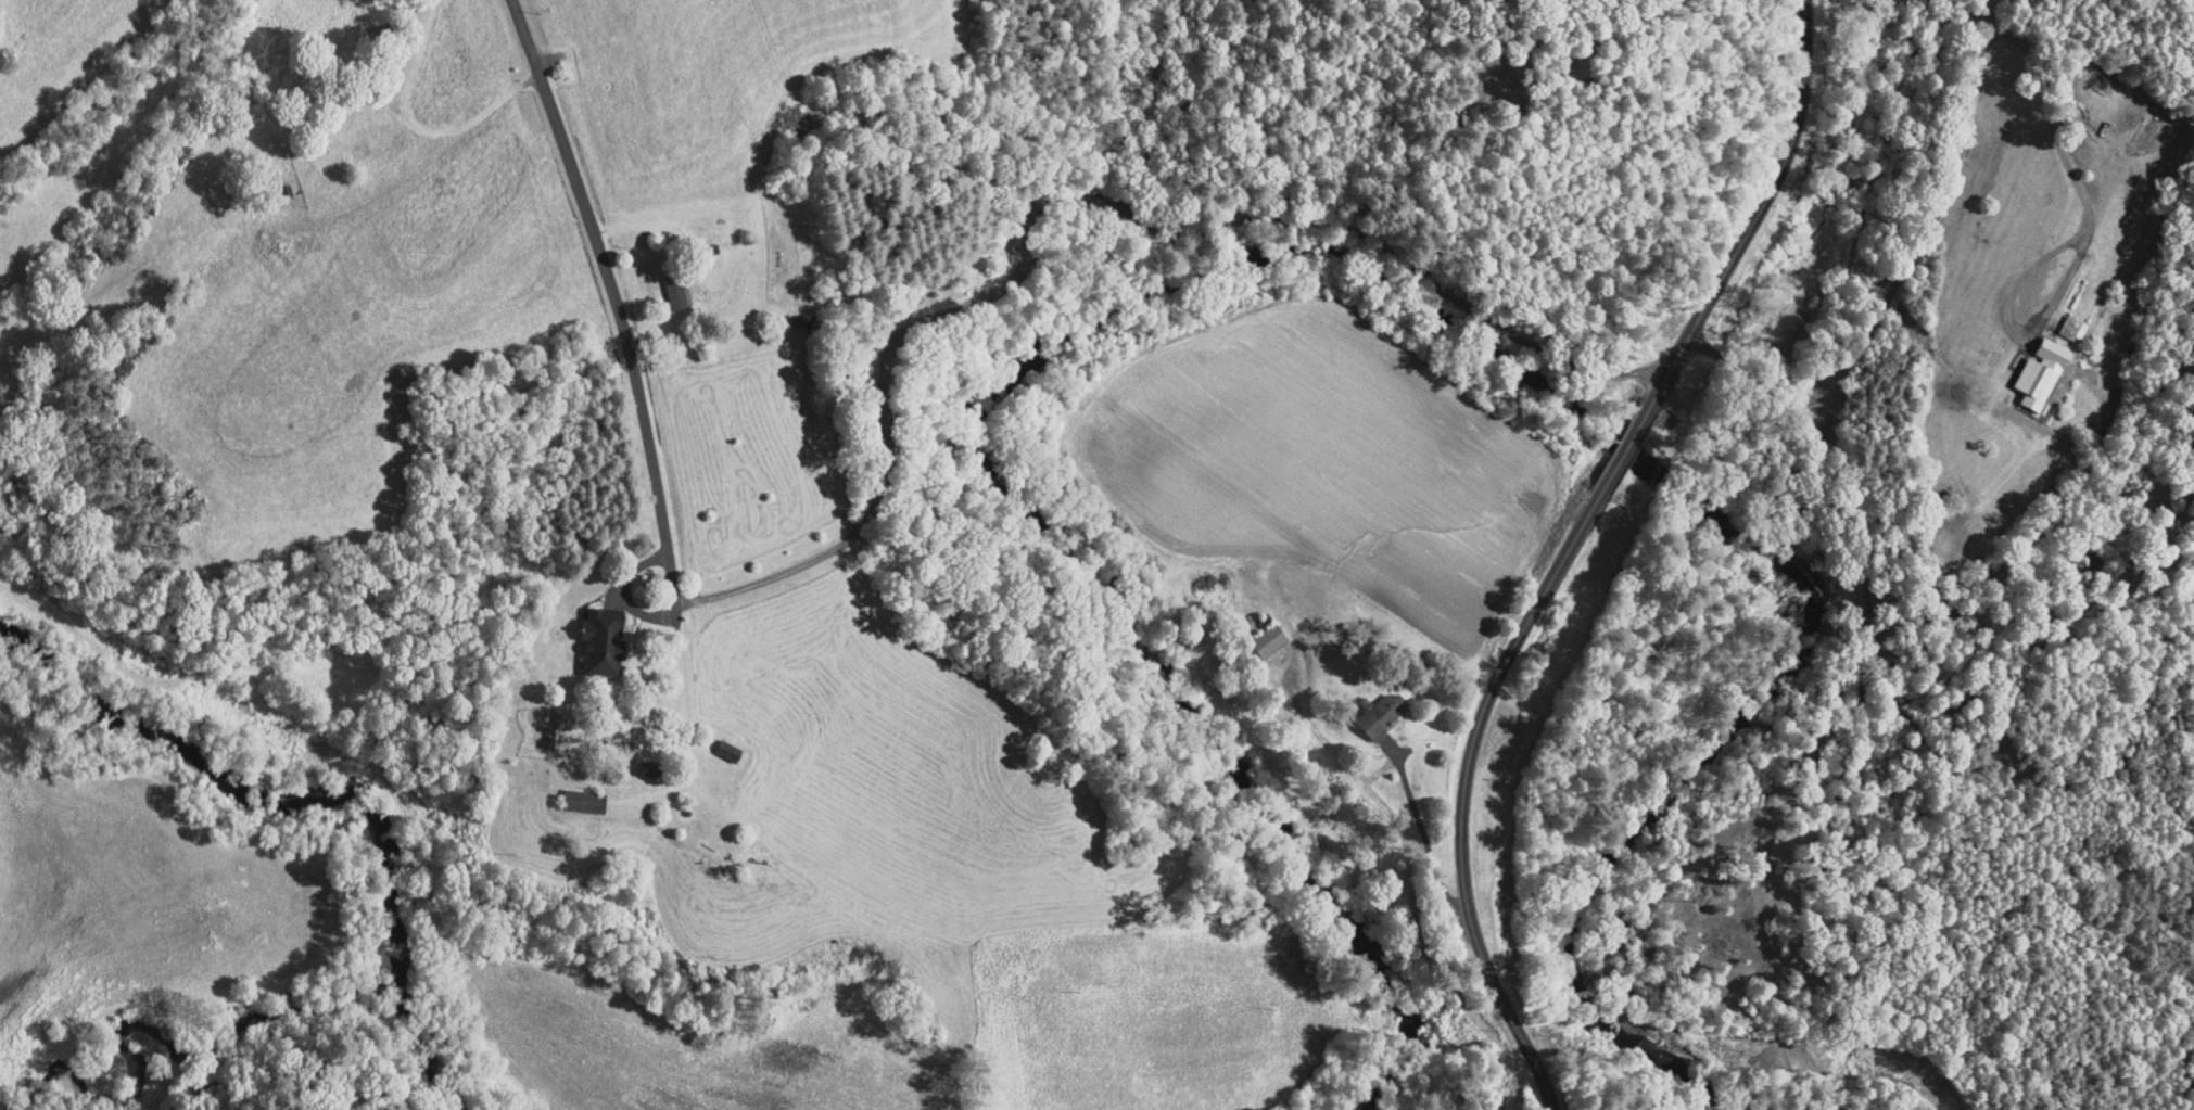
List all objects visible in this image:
road: (1966, 130)
river: (1434, 273)
building: (667, 283)
building: (2062, 320)
building: (2036, 369)
road: (646, 422)
road: (1569, 546)
building: (1260, 631)
building: (595, 633)
building: (1371, 706)
river: (1164, 709)
building: (718, 743)
river: (290, 752)
river: (1698, 789)
building: (573, 793)
river: (431, 1073)

